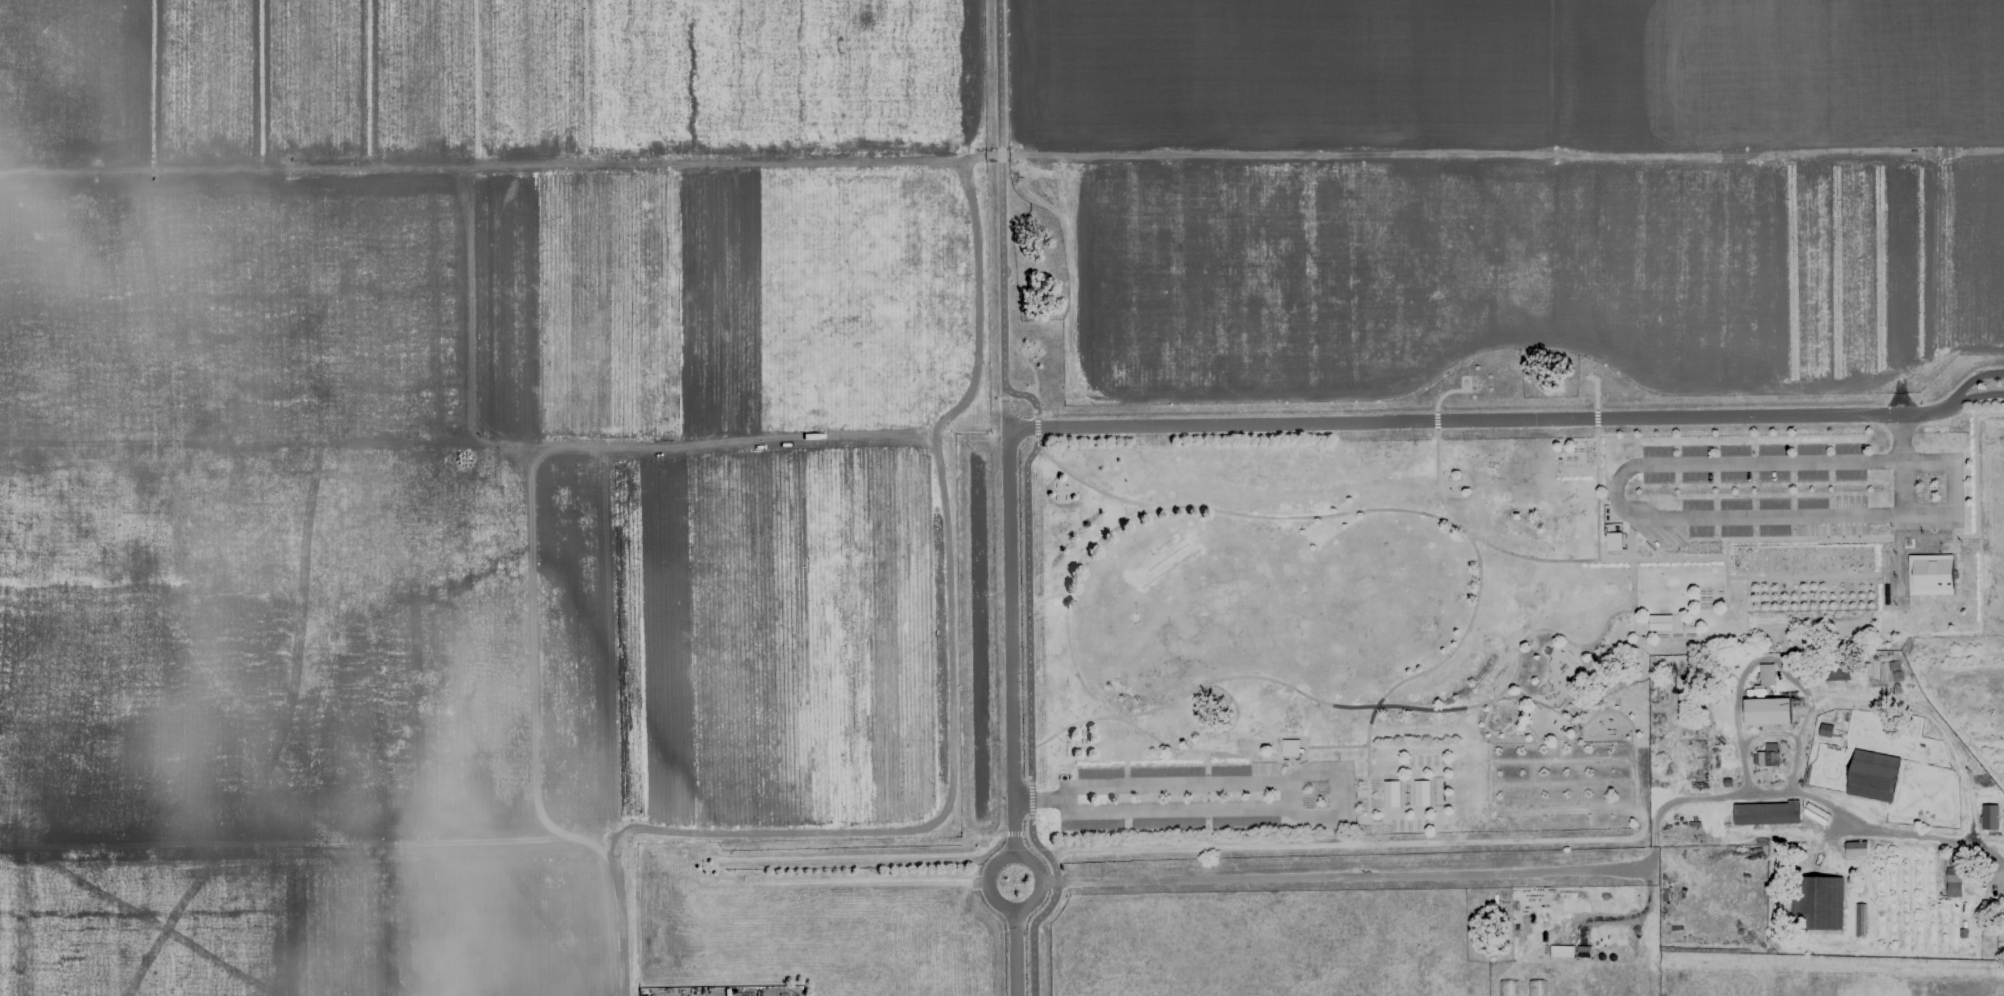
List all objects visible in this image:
road: (1228, 419)
road: (1596, 465)
road: (1097, 487)
road: (1901, 489)
parking lot: (1793, 491)
road: (1027, 493)
park: (1002, 498)
road: (1418, 512)
road: (1651, 519)
building: (1613, 542)
building: (1929, 575)
road: (1819, 576)
road: (1051, 586)
road: (1721, 599)
building: (1659, 622)
road: (1654, 632)
road: (1598, 638)
road: (1523, 639)
road: (1449, 653)
road: (1748, 666)
building: (1829, 673)
building: (1767, 675)
road: (1533, 702)
road: (1349, 707)
building: (1767, 712)
building: (1825, 731)
road: (1768, 734)
building: (1289, 748)
road: (1560, 751)
building: (1768, 757)
road: (1532, 773)
building: (1873, 776)
road: (1445, 777)
road: (1367, 782)
road: (1488, 783)
road: (1634, 783)
building: (1727, 783)
road: (1561, 784)
road: (1299, 792)
building: (1420, 793)
building: (1391, 794)
parking lot: (1178, 795)
road: (1576, 795)
road: (1331, 814)
building: (1767, 814)
crop: (1826, 818)
building: (1990, 819)
road: (1895, 834)
road: (1341, 845)
road: (884, 849)
building: (1856, 849)
building: (1955, 875)
road: (1428, 876)
building: (1818, 903)
building: (1986, 906)
road: (1635, 917)
building: (1861, 920)
building: (1964, 933)

